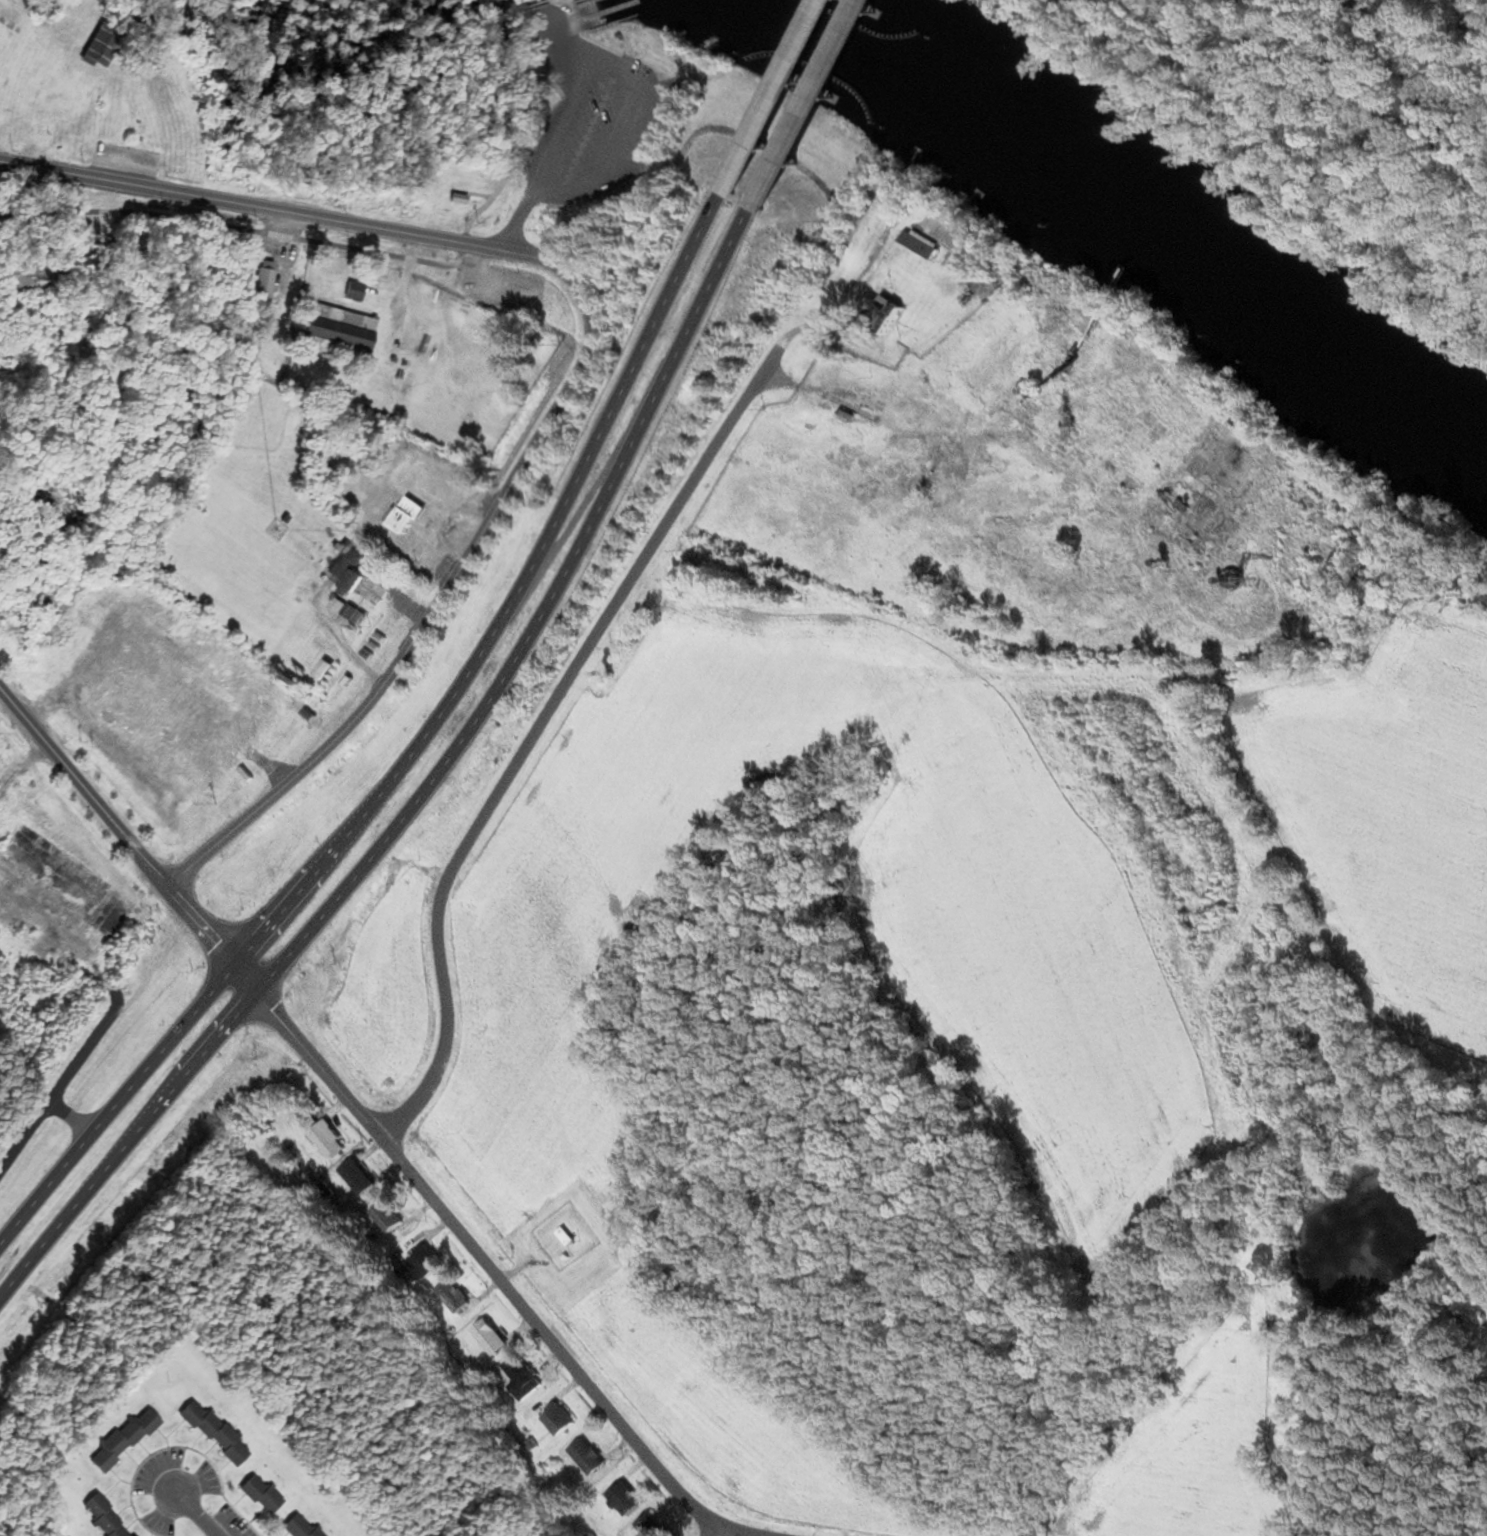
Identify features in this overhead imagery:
building: (105, 48)
road: (781, 98)
road: (814, 106)
building: (895, 190)
road: (493, 196)
building: (460, 200)
road: (231, 203)
road: (515, 225)
road: (224, 226)
river: (1135, 228)
building: (921, 246)
road: (485, 247)
road: (459, 259)
building: (266, 285)
building: (356, 292)
building: (341, 333)
building: (1074, 436)
building: (1184, 506)
building: (411, 516)
building: (353, 569)
road: (449, 582)
building: (107, 599)
road: (514, 601)
road: (542, 625)
building: (192, 709)
road: (526, 743)
road: (82, 787)
road: (200, 924)
road: (245, 979)
road: (115, 1105)
road: (82, 1130)
road: (22, 1139)
building: (328, 1142)
road: (123, 1148)
building: (357, 1179)
building: (387, 1219)
building: (567, 1238)
building: (426, 1264)
road: (495, 1277)
building: (454, 1297)
building: (492, 1339)
building: (525, 1380)
building: (560, 1421)
building: (217, 1435)
building: (125, 1441)
building: (591, 1458)
building: (263, 1497)
building: (628, 1501)
road: (195, 1516)
building: (105, 1519)
building: (305, 1526)
building: (652, 1528)
road: (715, 1532)

